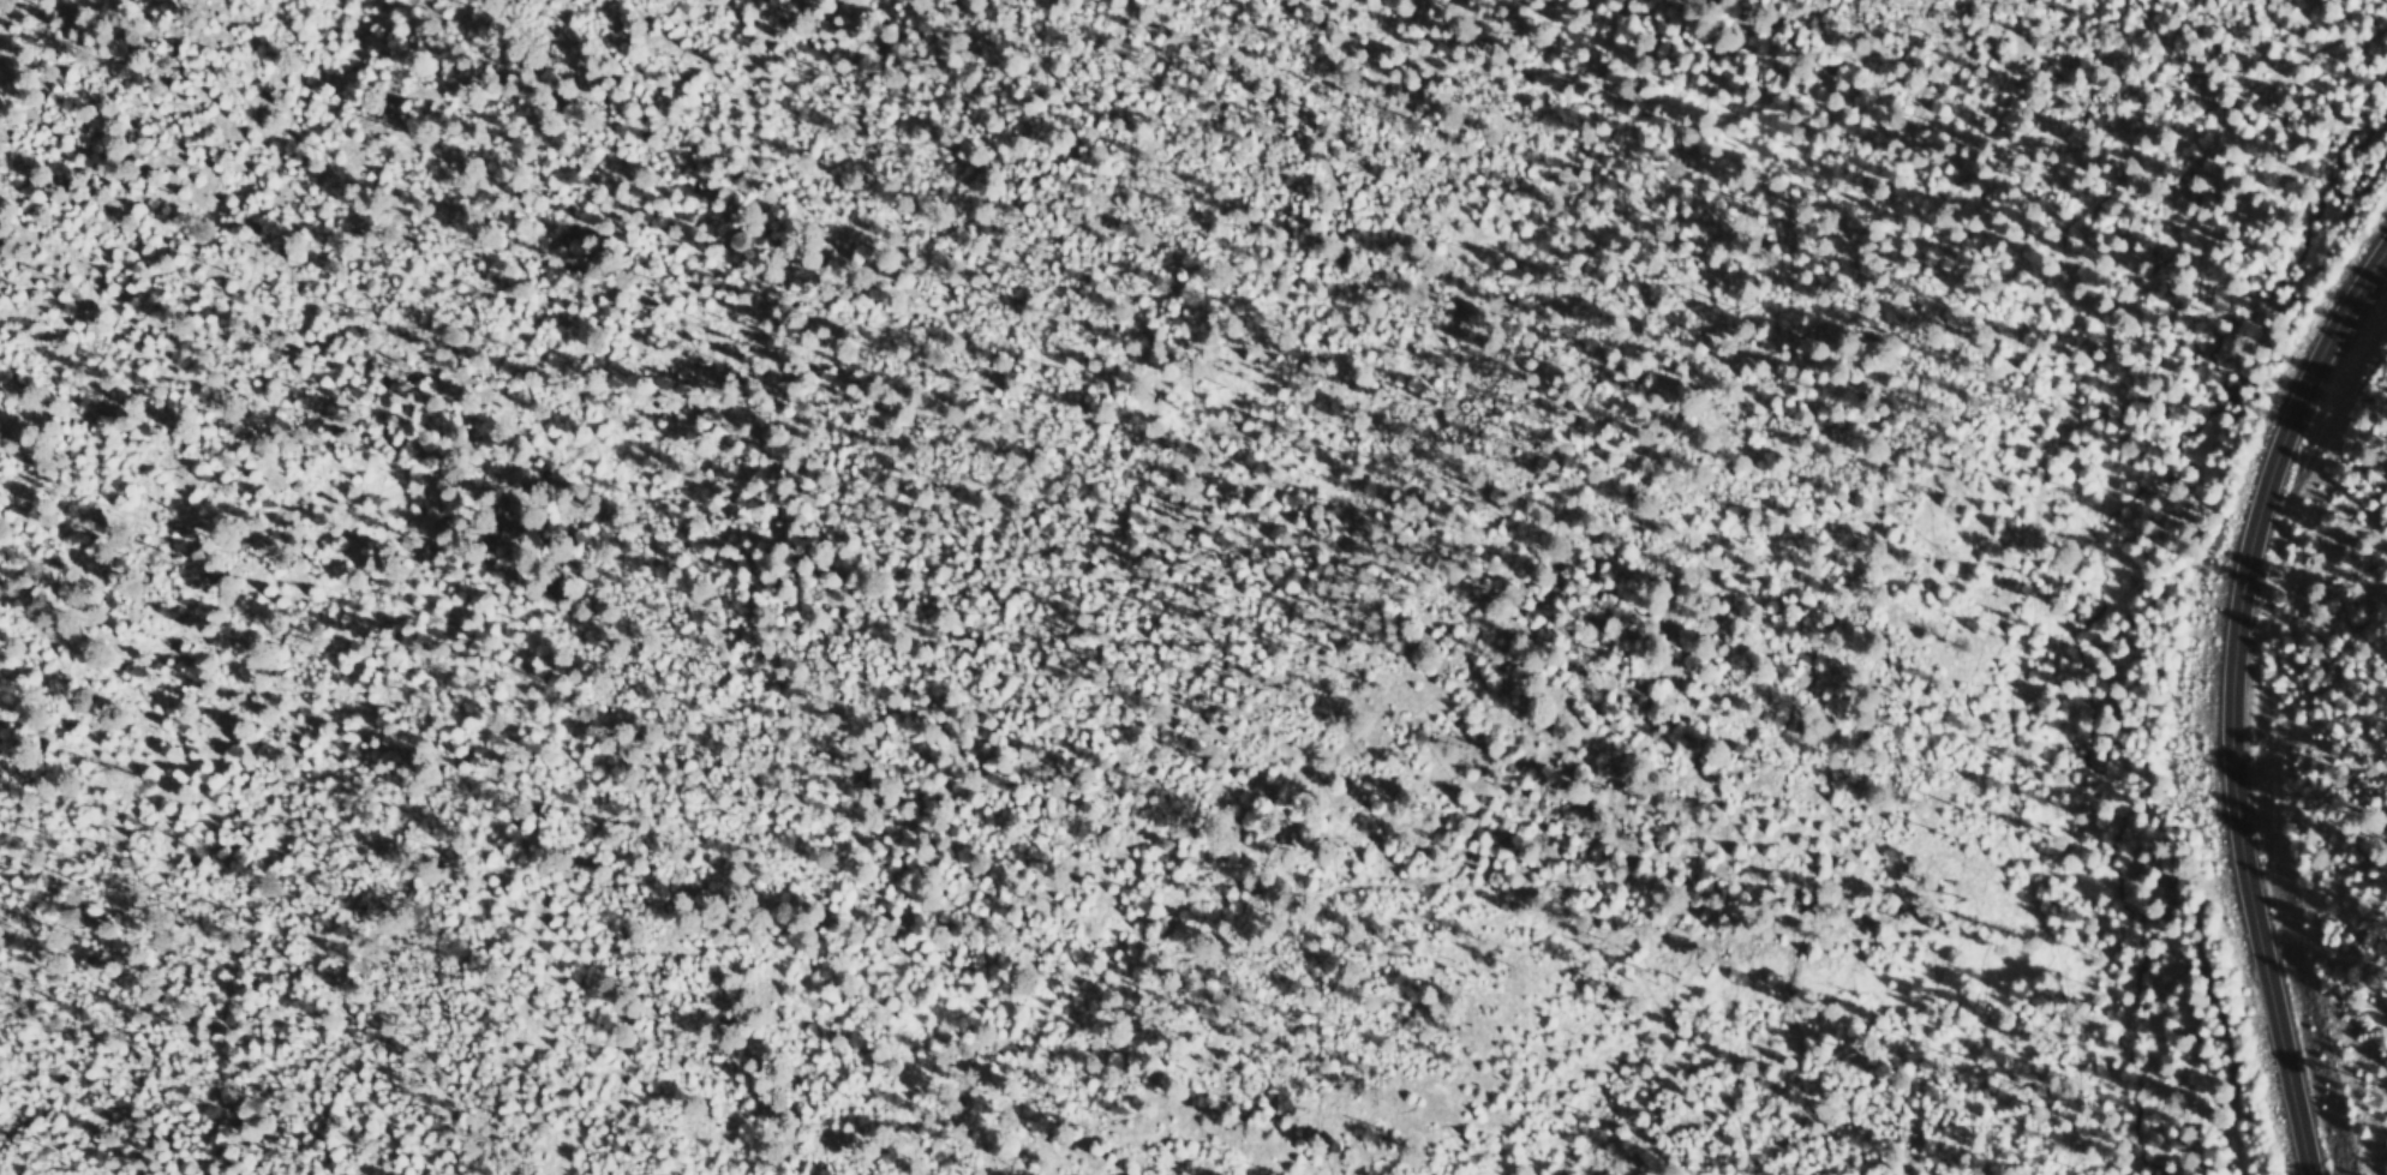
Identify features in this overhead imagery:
road: (2241, 703)
road: (2236, 1071)

